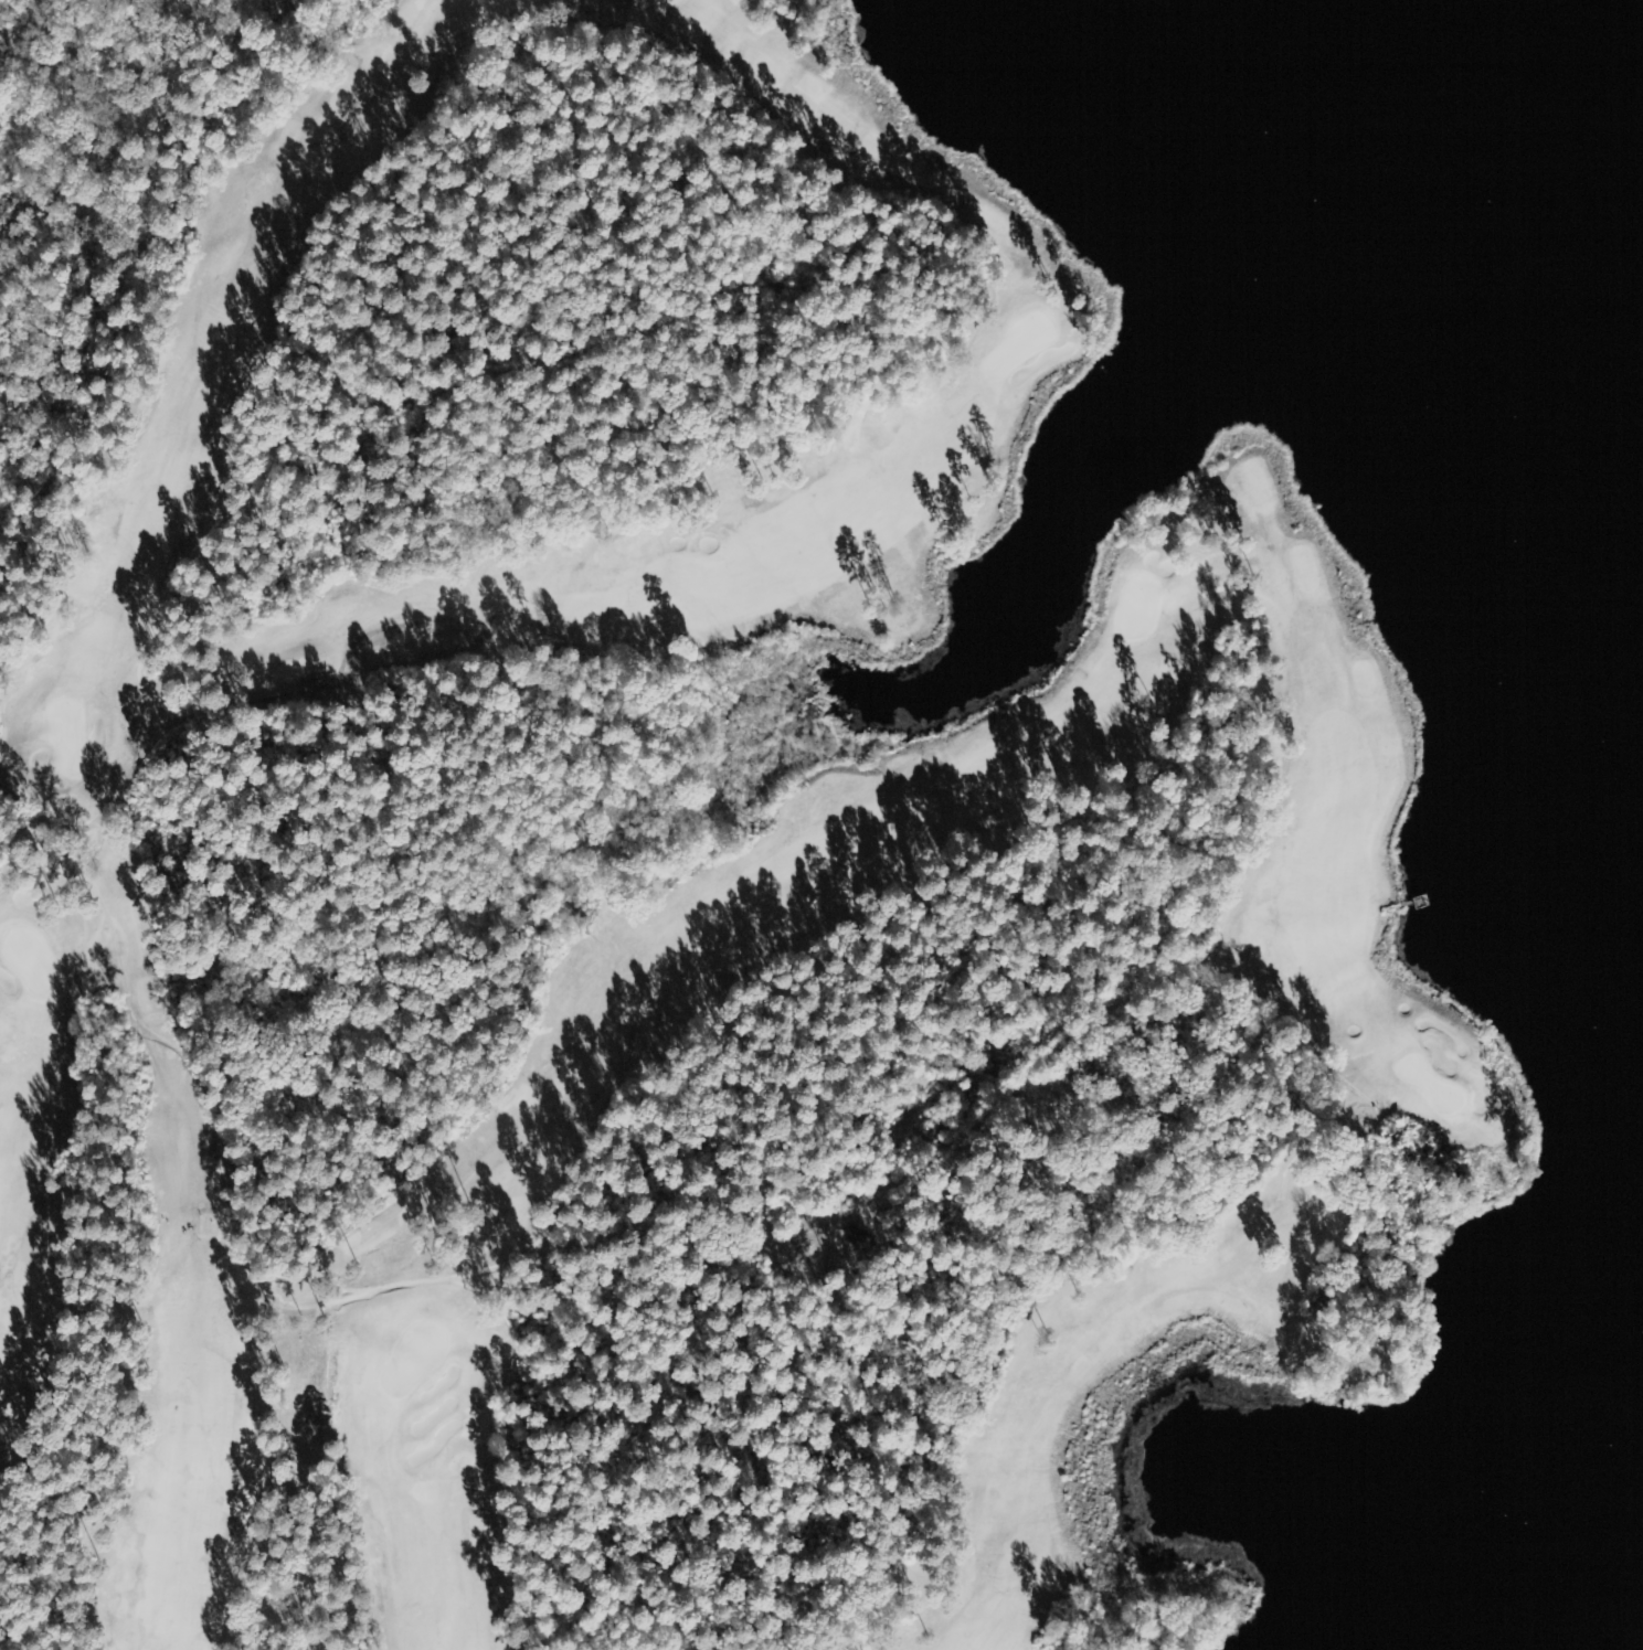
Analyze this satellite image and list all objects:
park: (1017, 340)
park: (63, 733)
park: (659, 891)
park: (25, 958)
park: (1425, 1084)

